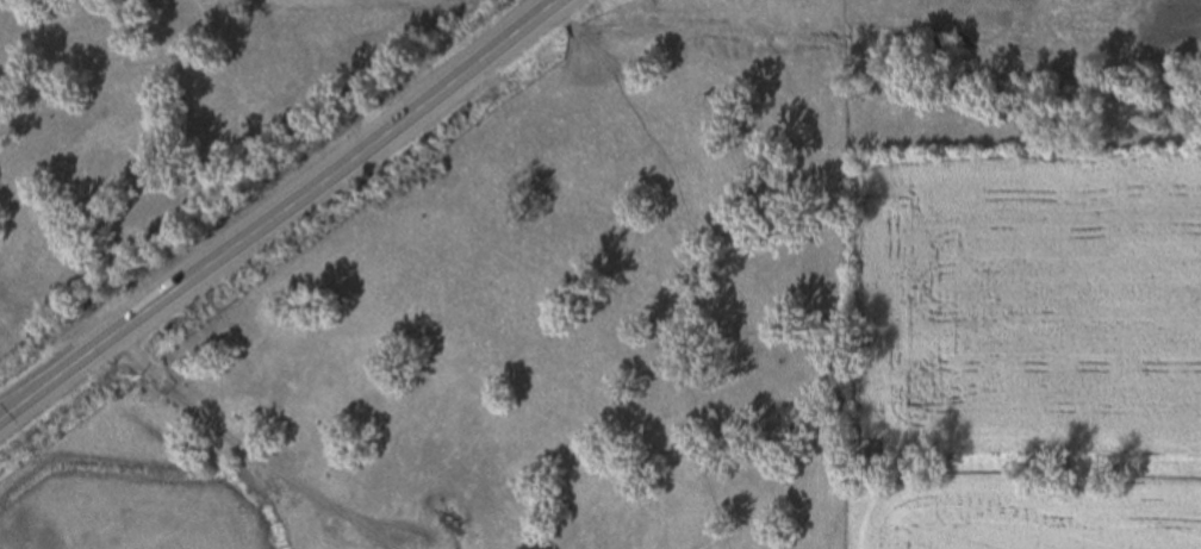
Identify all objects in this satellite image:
road: (282, 210)
road: (244, 450)

